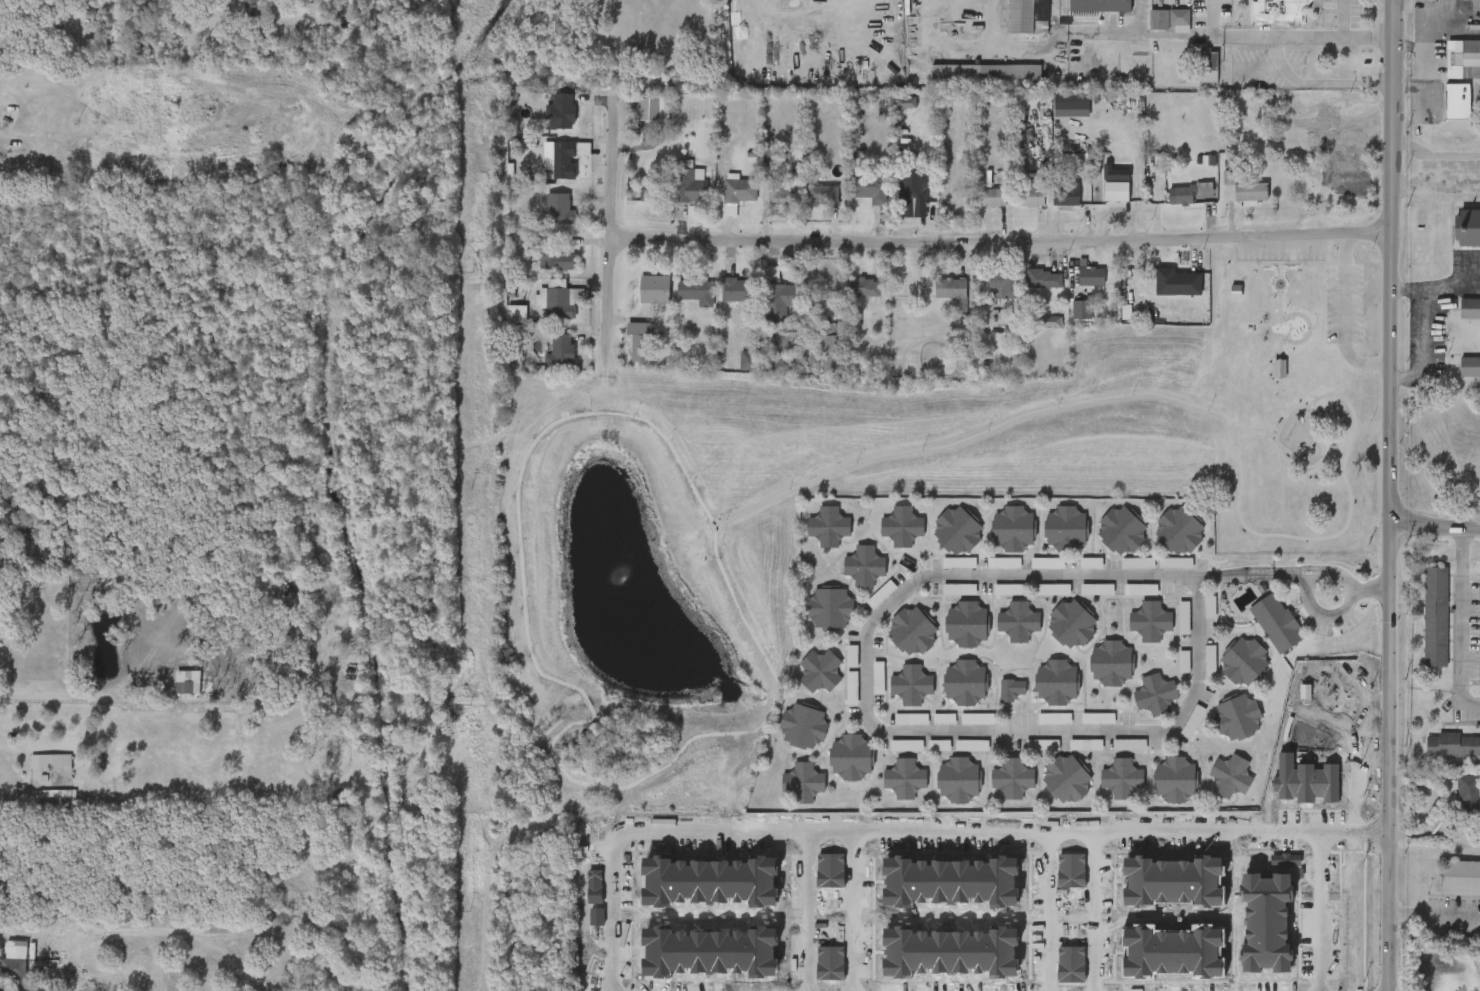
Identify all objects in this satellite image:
building: (0, 7)
building: (252, 7)
building: (1095, 7)
building: (1276, 10)
building: (1178, 17)
building: (1024, 18)
building: (1158, 19)
road: (993, 24)
road: (1250, 35)
road: (1409, 47)
road: (1427, 50)
building: (1470, 57)
building: (1209, 67)
building: (986, 73)
road: (1409, 79)
road: (1317, 80)
building: (1457, 100)
building: (906, 103)
building: (1071, 105)
building: (653, 108)
building: (559, 112)
building: (563, 160)
building: (1206, 160)
building: (1115, 174)
building: (686, 184)
building: (871, 188)
building: (1245, 188)
building: (740, 190)
building: (913, 190)
building: (1116, 190)
building: (784, 192)
building: (823, 194)
building: (1183, 194)
building: (644, 195)
building: (1030, 195)
building: (1065, 196)
building: (991, 197)
building: (559, 208)
building: (1468, 227)
road: (609, 237)
road: (1000, 243)
building: (554, 255)
road: (1290, 262)
building: (1091, 275)
building: (1178, 278)
building: (1049, 279)
building: (1004, 283)
building: (864, 286)
road: (1408, 288)
building: (653, 289)
building: (696, 289)
building: (738, 289)
building: (952, 290)
building: (560, 298)
building: (779, 301)
parking lot: (1343, 302)
building: (1469, 307)
building: (1082, 309)
building: (516, 314)
road: (1344, 318)
road: (1424, 318)
building: (639, 340)
building: (776, 346)
building: (560, 351)
building: (832, 352)
building: (748, 360)
building: (969, 365)
building: (1470, 365)
building: (1279, 369)
road: (1279, 397)
road: (1300, 406)
road: (991, 427)
road: (1244, 440)
road: (1301, 465)
road: (1390, 495)
park: (646, 524)
building: (828, 526)
building: (902, 526)
building: (1065, 527)
building: (1013, 528)
road: (1435, 528)
building: (957, 530)
building: (1121, 530)
building: (1178, 530)
road: (1325, 537)
building: (959, 563)
building: (1004, 563)
building: (1047, 563)
building: (1091, 563)
building: (1137, 563)
building: (1176, 563)
building: (864, 566)
road: (1335, 573)
road: (1290, 575)
road: (1235, 576)
building: (1011, 589)
building: (1053, 589)
building: (1097, 589)
building: (1141, 589)
building: (959, 590)
road: (1373, 590)
building: (881, 594)
building: (829, 608)
road: (1324, 616)
building: (1436, 617)
building: (1184, 618)
building: (1151, 620)
building: (1018, 621)
building: (1071, 622)
building: (1277, 622)
road: (1460, 622)
building: (967, 623)
building: (912, 631)
building: (852, 656)
building: (1210, 661)
building: (1244, 661)
building: (1110, 662)
building: (1184, 662)
building: (820, 670)
building: (878, 679)
building: (965, 681)
building: (1057, 681)
building: (187, 682)
building: (911, 684)
building: (852, 686)
building: (1012, 689)
building: (1155, 694)
road: (79, 700)
building: (1237, 717)
building: (1098, 718)
building: (911, 719)
building: (944, 719)
building: (977, 719)
building: (1054, 719)
building: (803, 725)
road: (880, 726)
building: (906, 745)
building: (939, 745)
building: (972, 745)
building: (1042, 745)
building: (1085, 745)
building: (1129, 745)
building: (1452, 745)
building: (851, 756)
building: (51, 762)
building: (1230, 776)
building: (904, 778)
building: (958, 778)
building: (1012, 778)
building: (1121, 778)
building: (1174, 778)
building: (1066, 779)
building: (802, 782)
building: (1468, 795)
road: (770, 824)
road: (1120, 827)
road: (1317, 874)
building: (1460, 879)
road: (803, 908)
road: (850, 908)
road: (1045, 909)
road: (1433, 917)
building: (12, 973)
building: (1213, 990)

